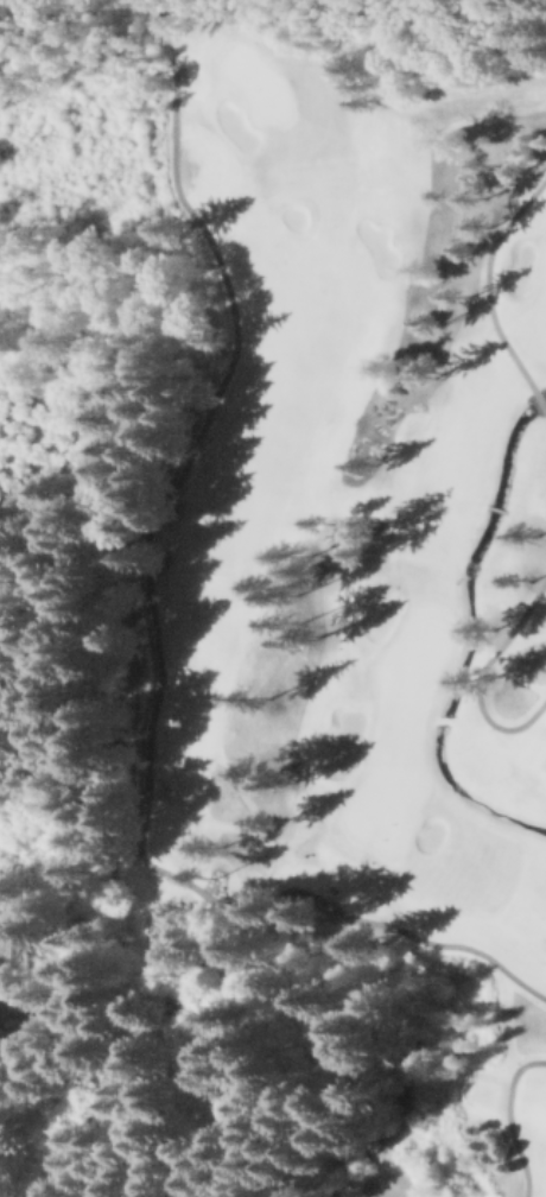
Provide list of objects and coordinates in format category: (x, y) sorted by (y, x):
road: (487, 278)
road: (539, 397)
park: (344, 526)
road: (155, 628)
road: (480, 673)
road: (508, 1117)

